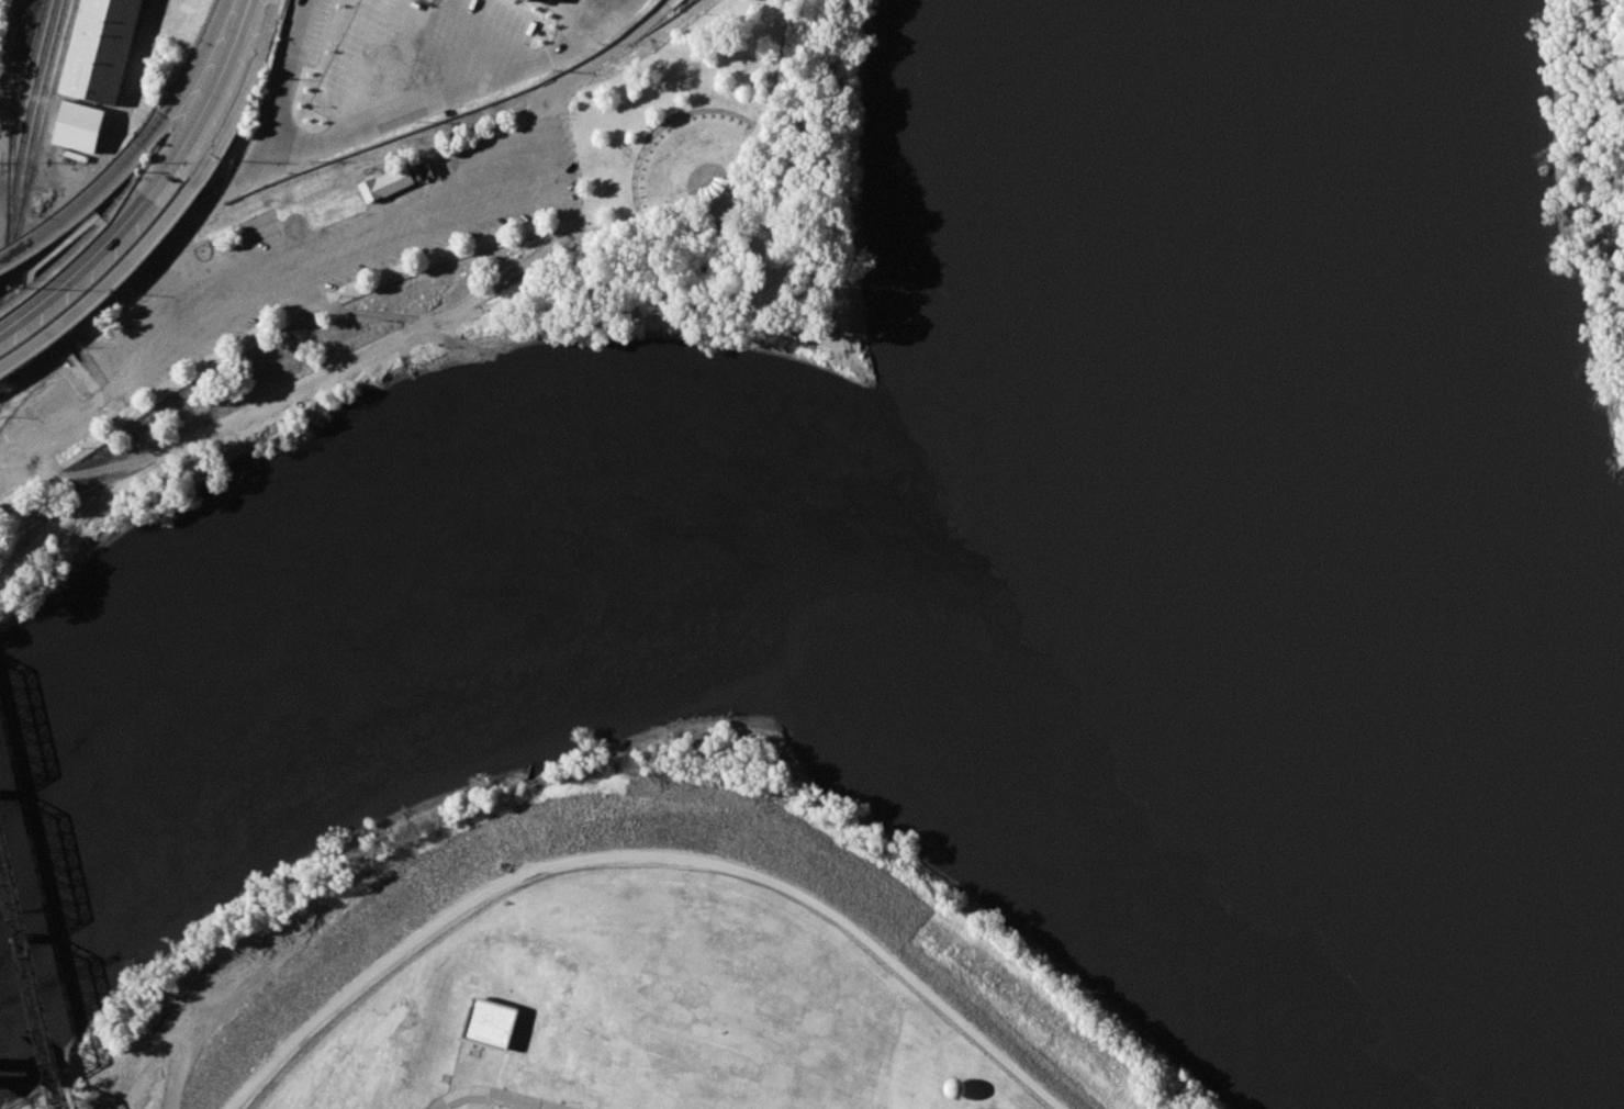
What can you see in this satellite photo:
railway: (20, 18)
road: (390, 22)
railway: (20, 48)
building: (103, 48)
railway: (13, 83)
road: (242, 98)
road: (439, 100)
road: (202, 101)
road: (169, 112)
railway: (36, 115)
railway: (14, 123)
road: (662, 124)
building: (78, 125)
railway: (20, 146)
railway: (37, 149)
road: (251, 158)
building: (424, 168)
road: (455, 176)
building: (385, 183)
road: (64, 219)
road: (719, 236)
road: (81, 240)
road: (428, 264)
road: (76, 267)
park: (485, 279)
road: (104, 288)
road: (42, 317)
road: (754, 326)
road: (85, 377)
road: (99, 399)
road: (110, 417)
river: (571, 559)
river: (1243, 598)
railway: (32, 968)
wastewater plant: (639, 1005)
building: (489, 1021)
road: (501, 1091)

